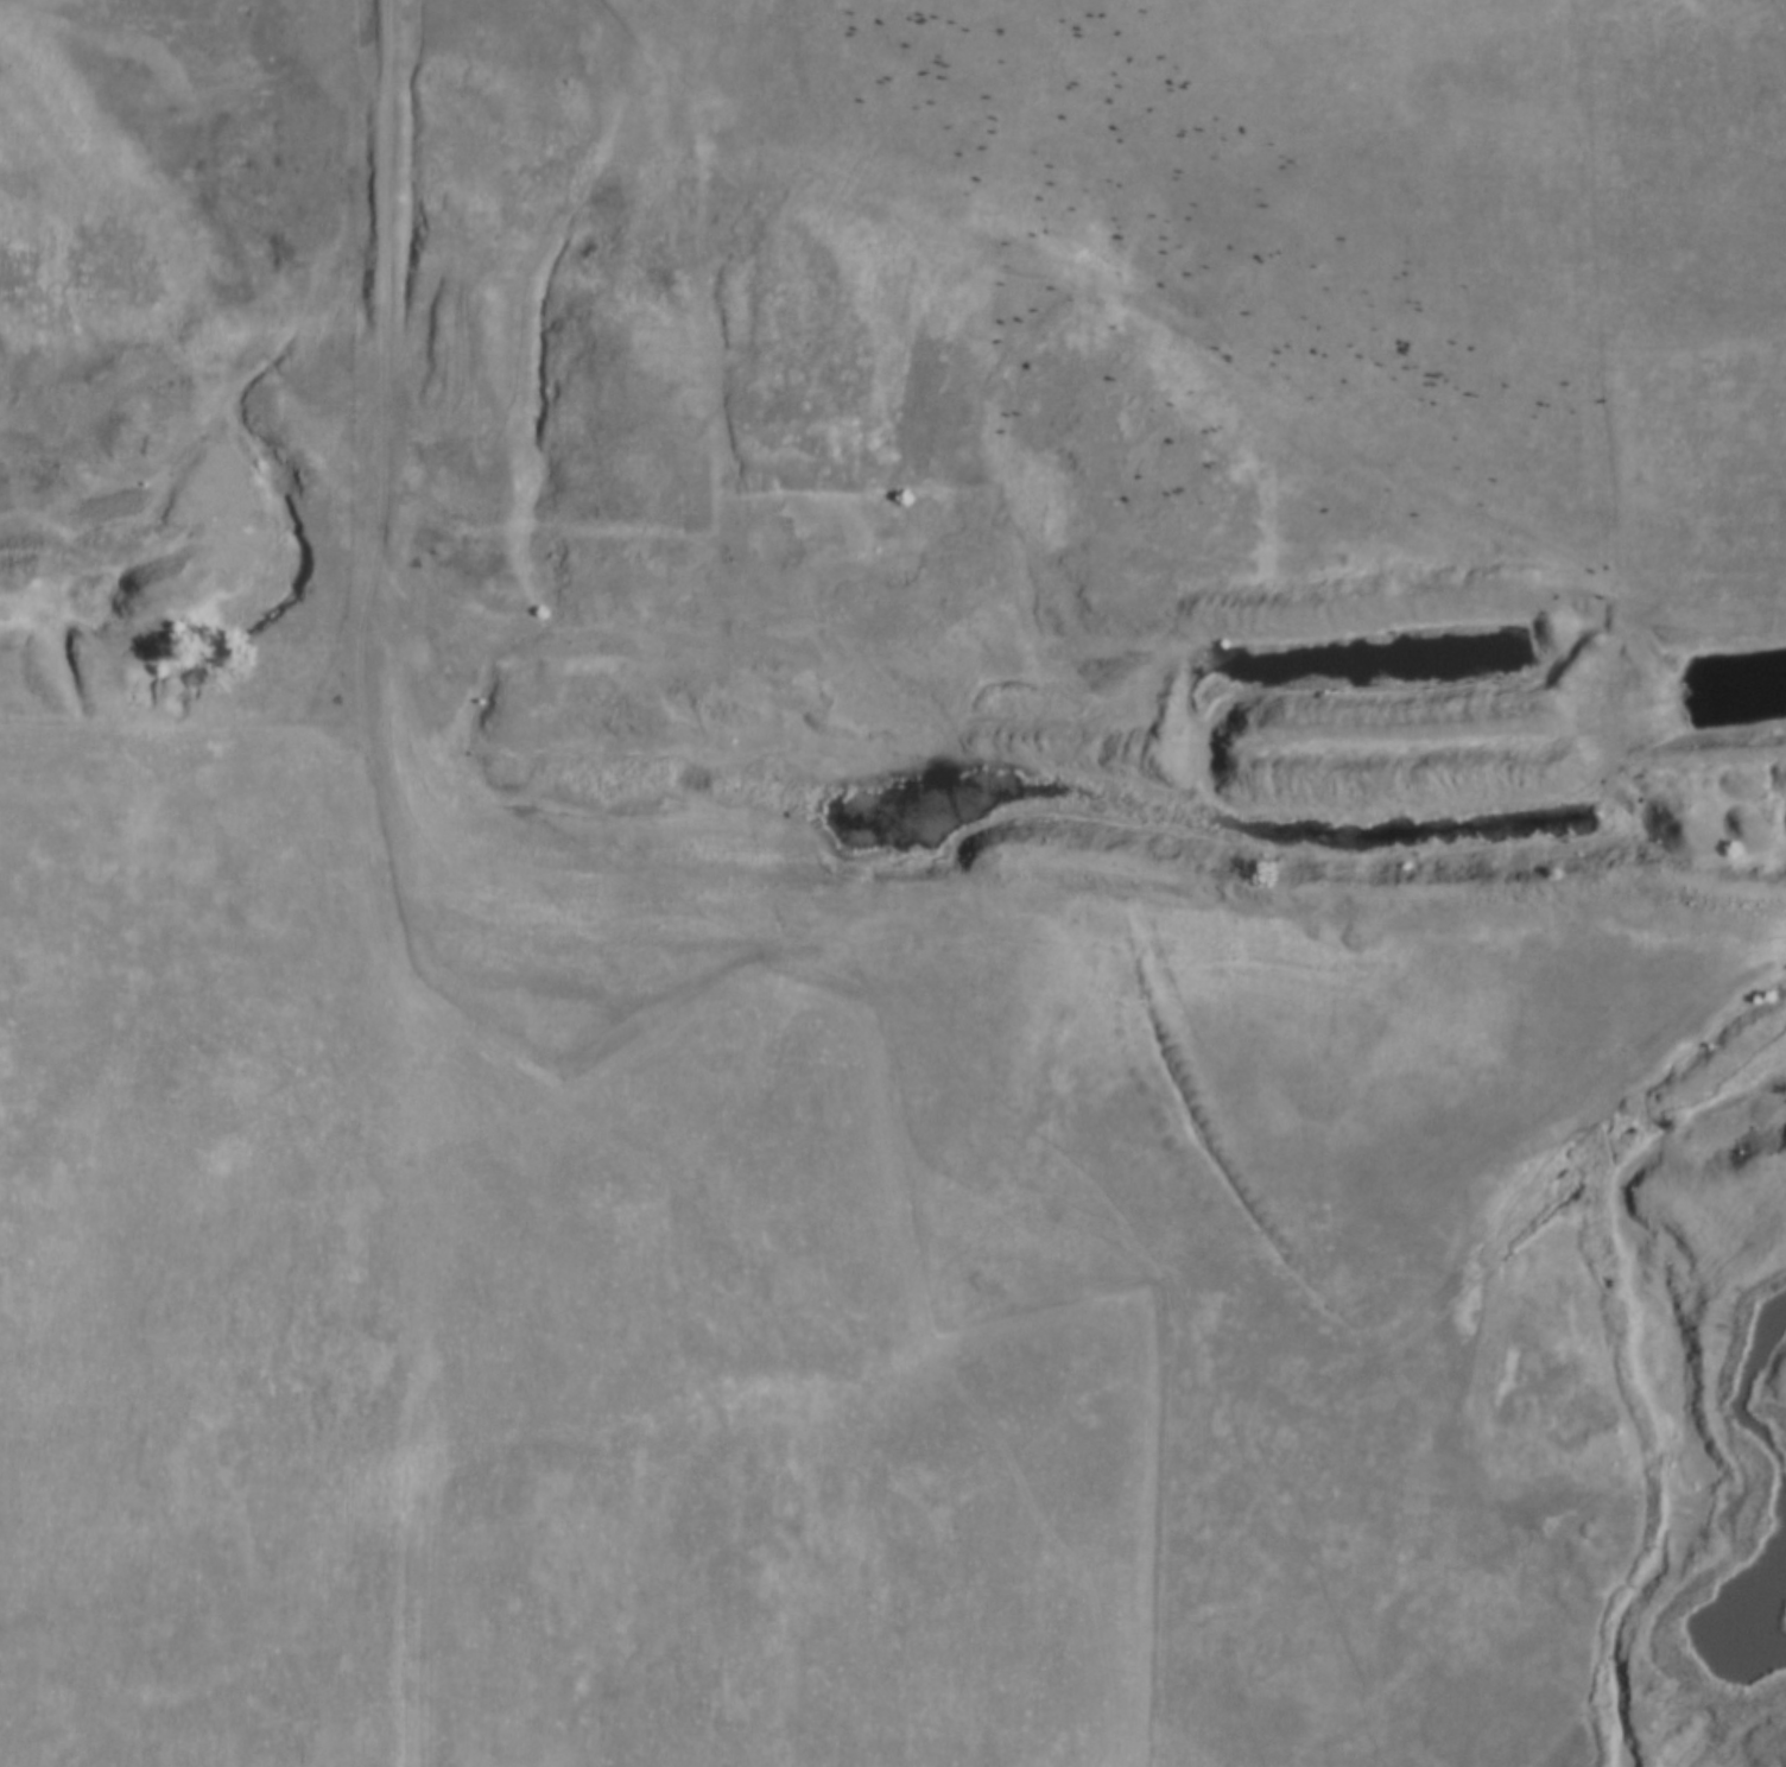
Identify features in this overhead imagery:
road: (385, 441)
quarry: (797, 663)
quarry: (1692, 1398)

